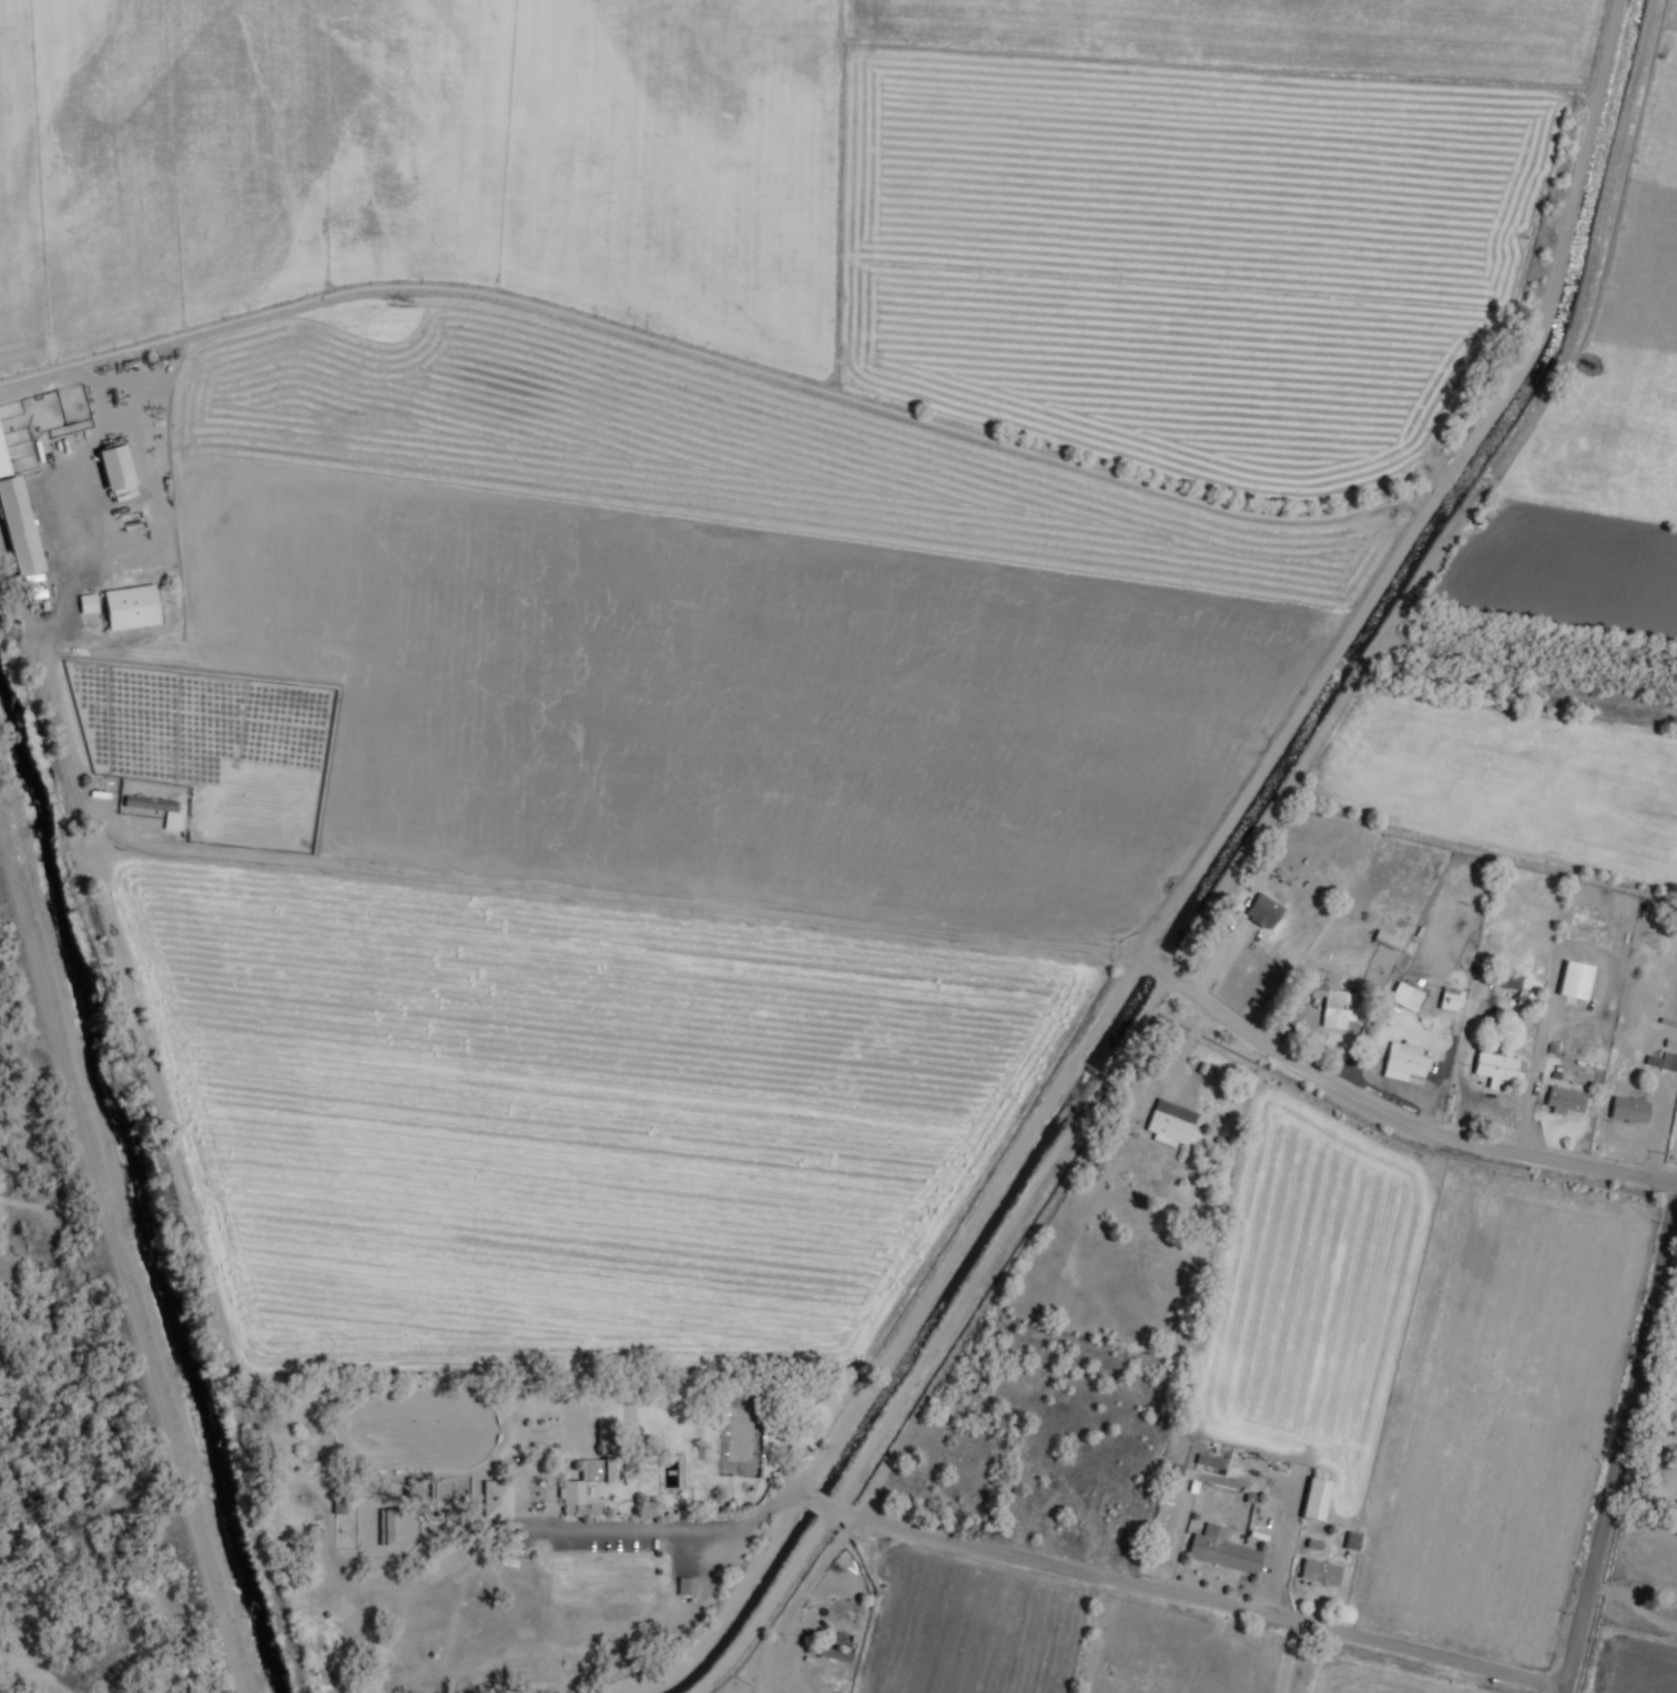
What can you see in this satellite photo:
building: (114, 466)
building: (17, 520)
building: (88, 602)
building: (131, 606)
building: (161, 807)
building: (1263, 912)
road: (934, 934)
building: (1385, 938)
building: (1511, 980)
building: (1575, 983)
building: (1405, 996)
building: (1449, 998)
building: (1531, 999)
building: (1335, 1006)
building: (1665, 1061)
building: (1403, 1063)
building: (1496, 1067)
road: (1533, 1085)
building: (1564, 1102)
building: (1632, 1109)
building: (1170, 1123)
building: (569, 1389)
park: (744, 1435)
building: (611, 1436)
building: (1669, 1446)
road: (1624, 1454)
building: (1211, 1461)
building: (1171, 1469)
building: (592, 1489)
building: (445, 1491)
fountain: (539, 1493)
building: (1315, 1498)
building: (501, 1499)
building: (343, 1505)
building: (653, 1509)
road: (711, 1526)
building: (394, 1527)
building: (1223, 1551)
building: (1320, 1573)
road: (1114, 1579)
building: (692, 1587)
building: (833, 1653)
road: (1293, 1658)

